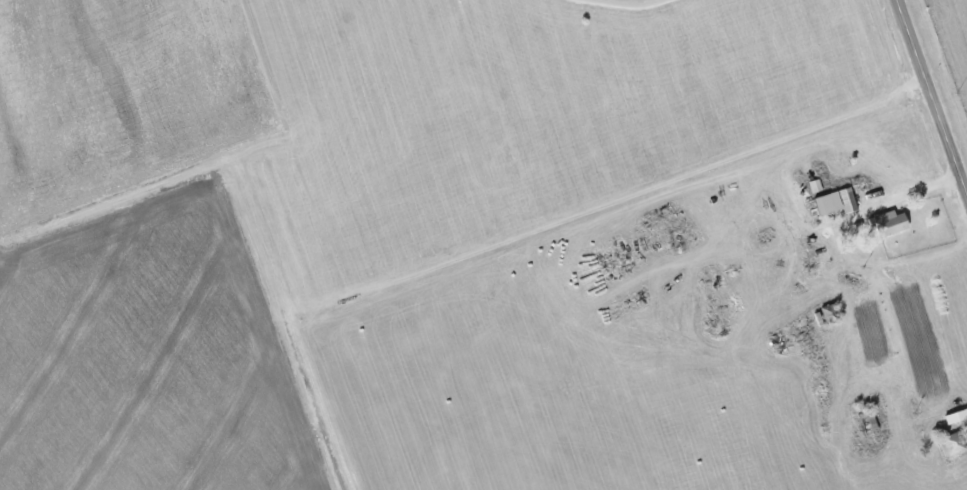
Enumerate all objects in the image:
road: (625, 4)
road: (932, 94)
road: (921, 197)
building: (836, 202)
building: (889, 223)
building: (956, 417)

